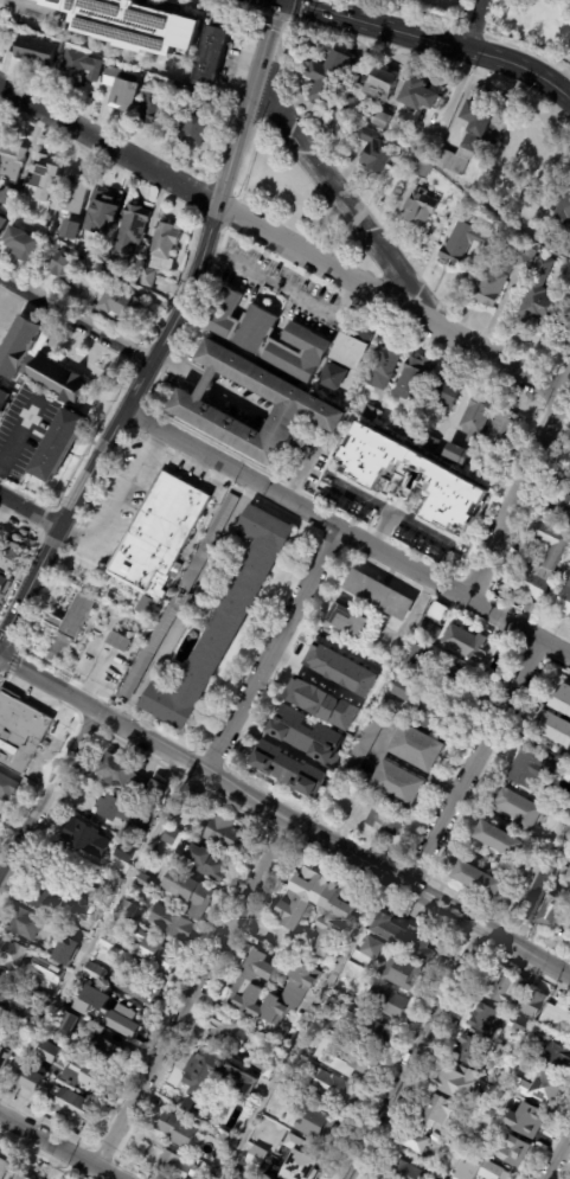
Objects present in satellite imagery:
building: (129, 25)
road: (476, 25)
road: (435, 39)
building: (36, 51)
building: (212, 59)
building: (77, 69)
building: (346, 83)
building: (120, 91)
building: (188, 95)
building: (417, 97)
building: (152, 105)
building: (382, 121)
building: (192, 132)
building: (468, 140)
building: (376, 153)
building: (11, 164)
building: (418, 171)
building: (41, 178)
road: (225, 185)
building: (73, 198)
park: (290, 198)
building: (6, 199)
road: (340, 203)
building: (418, 206)
building: (562, 209)
building: (96, 216)
building: (1, 223)
building: (69, 231)
building: (129, 232)
building: (0, 233)
road: (280, 243)
building: (461, 243)
building: (19, 246)
building: (102, 246)
building: (49, 249)
building: (164, 249)
building: (68, 268)
building: (146, 278)
building: (498, 278)
road: (286, 288)
building: (539, 300)
building: (116, 306)
road: (76, 320)
building: (267, 338)
building: (348, 348)
road: (158, 350)
road: (137, 354)
road: (166, 361)
building: (37, 363)
road: (147, 366)
road: (178, 367)
building: (380, 369)
building: (411, 378)
building: (329, 379)
road: (121, 389)
road: (152, 389)
building: (441, 395)
building: (4, 397)
road: (132, 398)
building: (300, 404)
road: (142, 408)
building: (371, 412)
road: (139, 418)
building: (478, 418)
building: (403, 429)
road: (136, 431)
building: (504, 431)
road: (139, 435)
road: (91, 436)
road: (19, 437)
road: (91, 443)
building: (430, 443)
building: (57, 444)
road: (102, 449)
road: (226, 451)
building: (457, 454)
road: (115, 457)
building: (487, 475)
building: (450, 481)
road: (0, 482)
road: (518, 489)
road: (249, 493)
road: (25, 495)
road: (75, 498)
road: (377, 506)
building: (563, 510)
road: (50, 511)
road: (27, 512)
road: (289, 515)
road: (20, 518)
road: (60, 518)
road: (45, 520)
road: (76, 528)
road: (418, 528)
road: (41, 531)
road: (347, 532)
road: (52, 534)
building: (160, 536)
road: (77, 538)
road: (69, 542)
building: (209, 544)
building: (555, 545)
building: (569, 553)
building: (11, 557)
road: (20, 568)
building: (533, 581)
building: (4, 585)
road: (45, 595)
building: (380, 595)
building: (564, 603)
building: (146, 607)
building: (532, 609)
building: (438, 611)
building: (73, 619)
building: (347, 620)
building: (224, 623)
building: (430, 632)
road: (6, 640)
building: (119, 642)
building: (467, 643)
road: (17, 646)
building: (150, 649)
road: (270, 651)
road: (11, 661)
building: (340, 669)
building: (414, 671)
road: (57, 672)
road: (275, 674)
road: (71, 675)
road: (4, 678)
road: (83, 687)
road: (75, 700)
building: (564, 700)
road: (30, 701)
building: (321, 703)
building: (420, 704)
road: (69, 713)
building: (65, 717)
road: (71, 722)
road: (66, 723)
building: (556, 728)
building: (19, 730)
road: (161, 731)
road: (85, 733)
building: (309, 735)
building: (367, 747)
building: (418, 748)
road: (137, 752)
road: (211, 760)
road: (474, 763)
road: (196, 765)
road: (223, 767)
building: (534, 769)
building: (293, 770)
building: (121, 774)
road: (188, 778)
road: (213, 781)
road: (199, 784)
building: (399, 784)
building: (7, 787)
building: (156, 790)
road: (45, 792)
road: (265, 792)
road: (216, 796)
building: (566, 806)
building: (187, 807)
building: (520, 809)
building: (123, 813)
building: (383, 815)
road: (280, 816)
building: (0, 818)
road: (284, 818)
building: (102, 822)
road: (261, 824)
road: (296, 826)
road: (271, 831)
road: (281, 834)
building: (226, 835)
building: (171, 837)
building: (85, 838)
building: (500, 840)
building: (124, 852)
road: (332, 860)
road: (252, 861)
building: (207, 864)
building: (145, 869)
building: (479, 879)
building: (569, 880)
building: (143, 882)
building: (116, 886)
road: (379, 886)
building: (540, 889)
building: (186, 891)
building: (41, 897)
road: (399, 898)
building: (76, 904)
road: (416, 908)
building: (129, 909)
building: (293, 914)
building: (553, 914)
building: (169, 922)
building: (26, 924)
road: (443, 924)
building: (408, 935)
road: (94, 936)
building: (108, 943)
building: (372, 947)
building: (65, 950)
building: (153, 954)
building: (14, 956)
building: (55, 965)
building: (406, 972)
building: (95, 973)
building: (46, 985)
building: (248, 987)
building: (506, 987)
building: (139, 988)
road: (192, 994)
building: (352, 995)
building: (95, 997)
building: (389, 1000)
building: (18, 1001)
building: (533, 1001)
building: (89, 1008)
building: (353, 1008)
building: (556, 1015)
building: (122, 1017)
building: (487, 1020)
building: (68, 1021)
building: (521, 1025)
road: (302, 1027)
building: (229, 1031)
building: (379, 1032)
building: (569, 1033)
building: (515, 1045)
building: (469, 1051)
building: (105, 1052)
building: (547, 1052)
building: (51, 1053)
road: (416, 1055)
building: (364, 1056)
building: (5, 1058)
building: (263, 1065)
building: (89, 1076)
building: (212, 1081)
building: (289, 1081)
building: (457, 1081)
building: (34, 1082)
building: (487, 1082)
building: (512, 1083)
building: (547, 1084)
building: (337, 1088)
building: (487, 1093)
building: (70, 1106)
building: (300, 1108)
building: (436, 1109)
building: (529, 1119)
building: (263, 1120)
building: (320, 1124)
building: (179, 1129)
building: (416, 1140)
building: (453, 1145)
building: (150, 1146)
road: (56, 1148)
building: (518, 1151)
building: (219, 1154)
road: (556, 1154)
building: (256, 1156)
building: (302, 1159)
building: (262, 1164)
building: (177, 1166)
building: (4, 1167)
building: (402, 1170)
building: (481, 1170)
building: (435, 1174)
building: (23, 1177)

